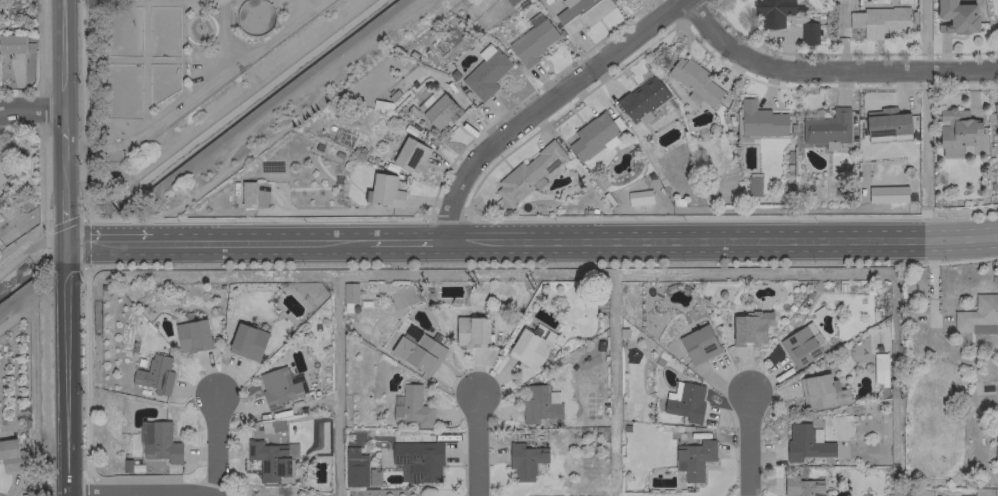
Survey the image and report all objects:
building: (510, 1)
building: (580, 12)
building: (956, 16)
building: (783, 17)
building: (878, 20)
building: (854, 32)
building: (531, 40)
building: (14, 44)
road: (829, 70)
building: (485, 72)
building: (693, 81)
building: (641, 99)
road: (264, 106)
road: (546, 106)
road: (33, 107)
building: (437, 108)
building: (996, 114)
building: (760, 120)
road: (66, 121)
building: (886, 121)
building: (826, 128)
building: (955, 131)
building: (592, 136)
building: (409, 153)
building: (528, 173)
building: (1, 176)
building: (753, 184)
building: (383, 190)
building: (246, 193)
building: (886, 194)
building: (638, 196)
road: (81, 223)
road: (726, 240)
road: (258, 241)
road: (406, 241)
traffic signals: (66, 242)
road: (111, 242)
building: (348, 292)
road: (30, 295)
building: (978, 315)
building: (750, 328)
building: (471, 331)
building: (191, 335)
building: (246, 341)
building: (698, 344)
building: (799, 345)
building: (527, 348)
building: (417, 352)
building: (878, 368)
road: (66, 369)
building: (154, 374)
building: (277, 387)
building: (820, 391)
building: (684, 402)
building: (539, 403)
building: (412, 406)
building: (159, 442)
building: (805, 442)
road: (214, 443)
road: (474, 443)
road: (746, 444)
building: (995, 446)
building: (10, 455)
building: (693, 458)
building: (272, 460)
building: (417, 460)
building: (524, 460)
building: (354, 467)
building: (801, 486)
road: (139, 492)

